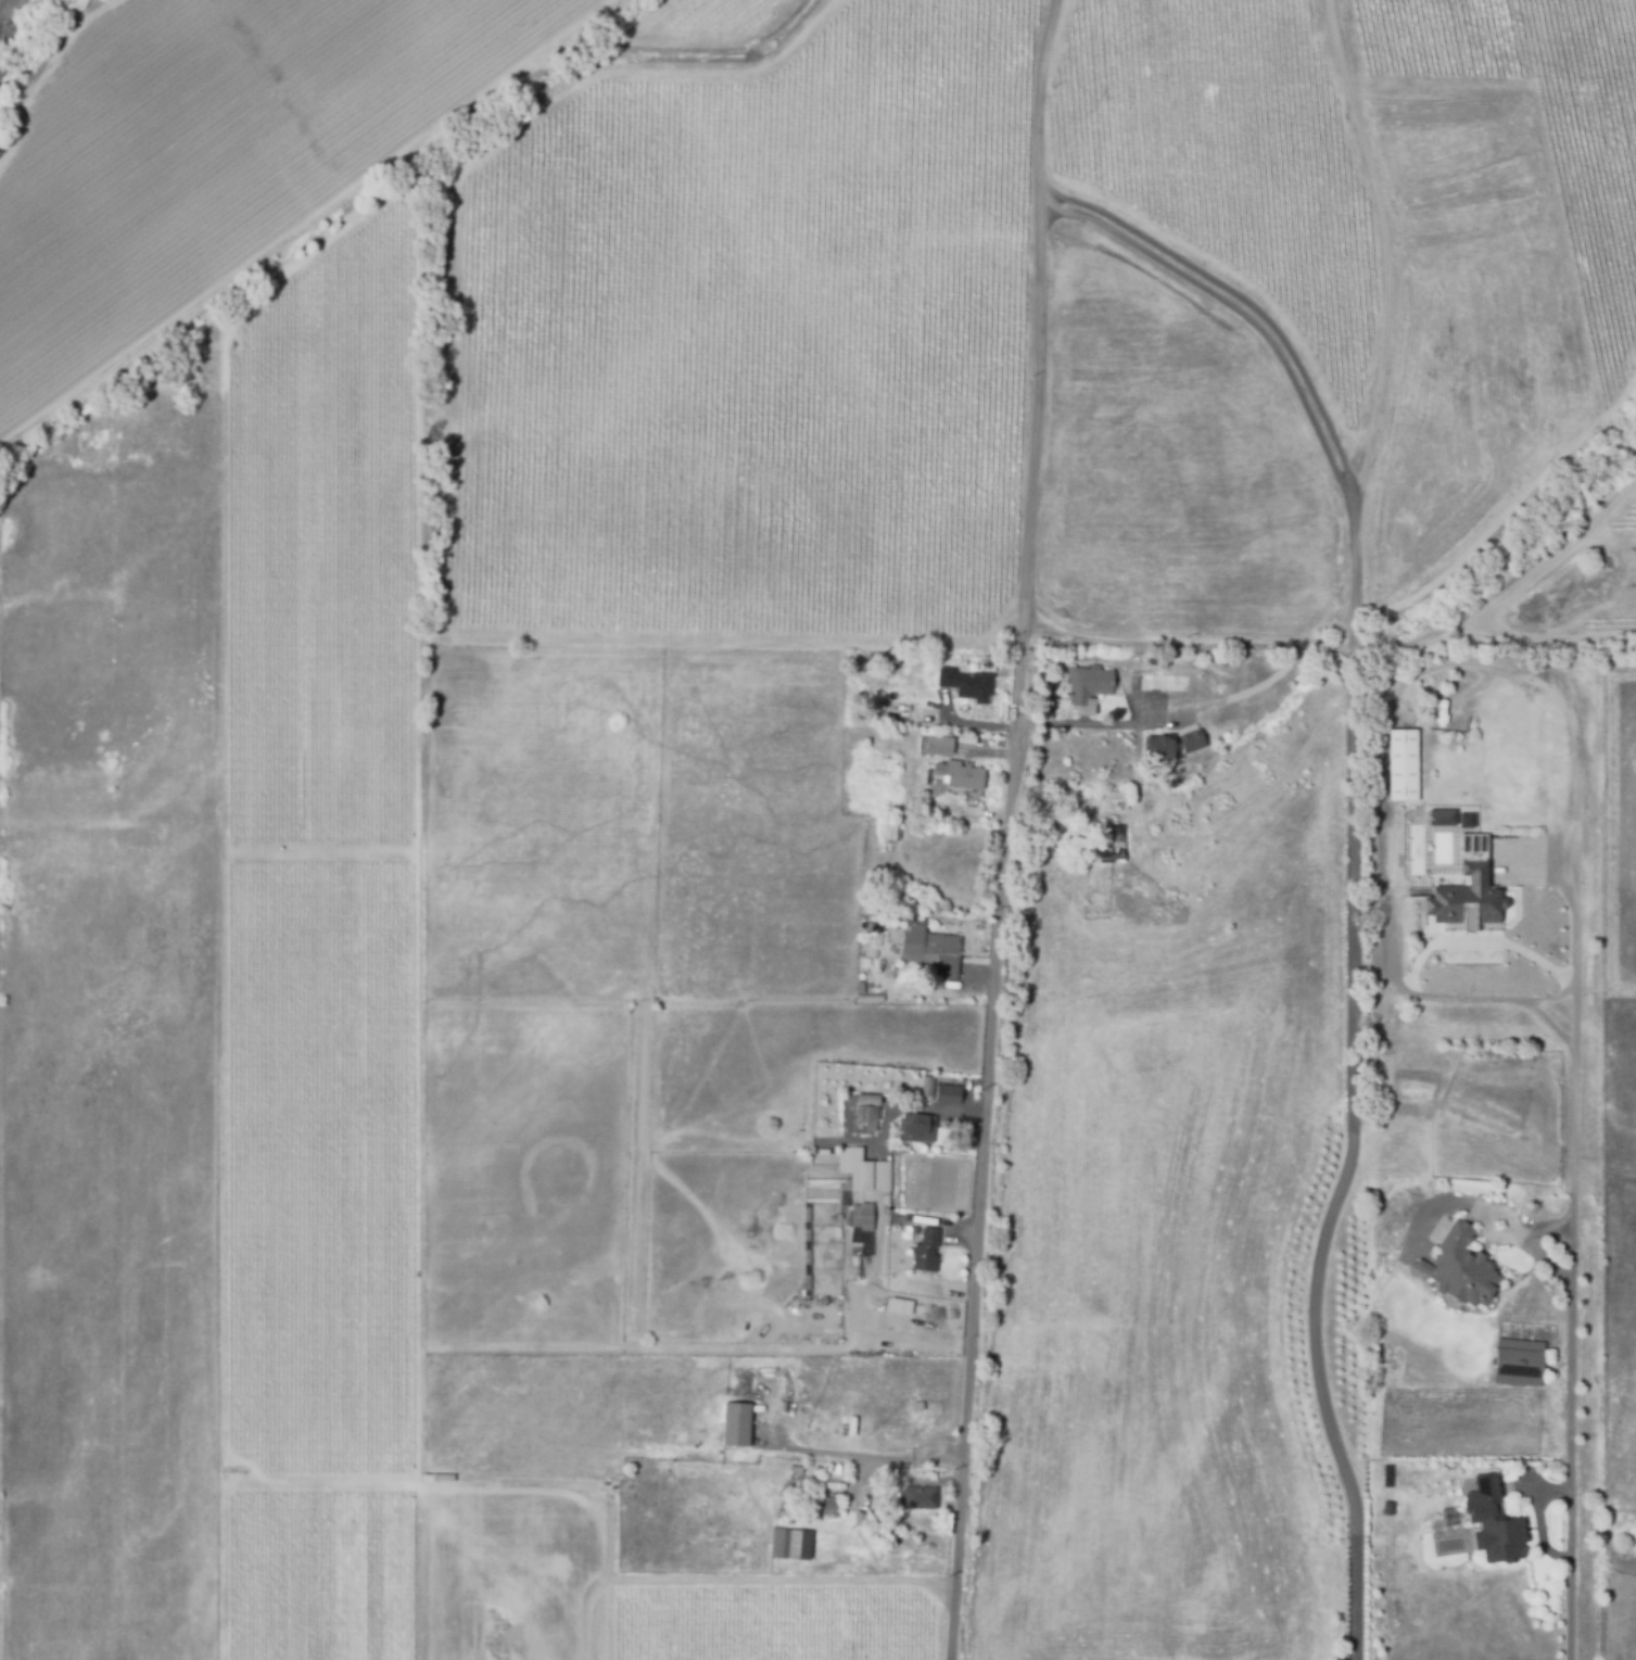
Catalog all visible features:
road: (1370, 129)
road: (1235, 294)
road: (1228, 305)
building: (1158, 680)
building: (1375, 681)
building: (968, 684)
building: (1221, 685)
building: (1091, 686)
road: (1101, 723)
building: (944, 731)
building: (965, 737)
building: (942, 745)
building: (1188, 746)
building: (1163, 748)
building: (1405, 762)
building: (1114, 765)
building: (1126, 772)
building: (964, 774)
building: (1146, 774)
building: (1114, 801)
building: (1442, 816)
building: (1468, 820)
building: (893, 828)
road: (1015, 829)
building: (1112, 846)
building: (1467, 898)
building: (888, 904)
building: (863, 928)
building: (929, 949)
road: (1517, 950)
road: (1395, 987)
building: (868, 997)
road: (1552, 1025)
road: (1350, 1076)
building: (946, 1093)
road: (922, 1108)
building: (867, 1117)
building: (915, 1127)
building: (862, 1175)
road: (1577, 1179)
building: (860, 1215)
building: (913, 1229)
building: (925, 1250)
building: (1457, 1270)
road: (890, 1344)
building: (1517, 1361)
building: (915, 1406)
building: (732, 1422)
road: (868, 1457)
building: (791, 1475)
building: (916, 1497)
building: (821, 1503)
building: (1385, 1507)
building: (858, 1520)
building: (1492, 1520)
building: (775, 1544)
road: (738, 1579)
building: (784, 1596)
building: (851, 1649)

